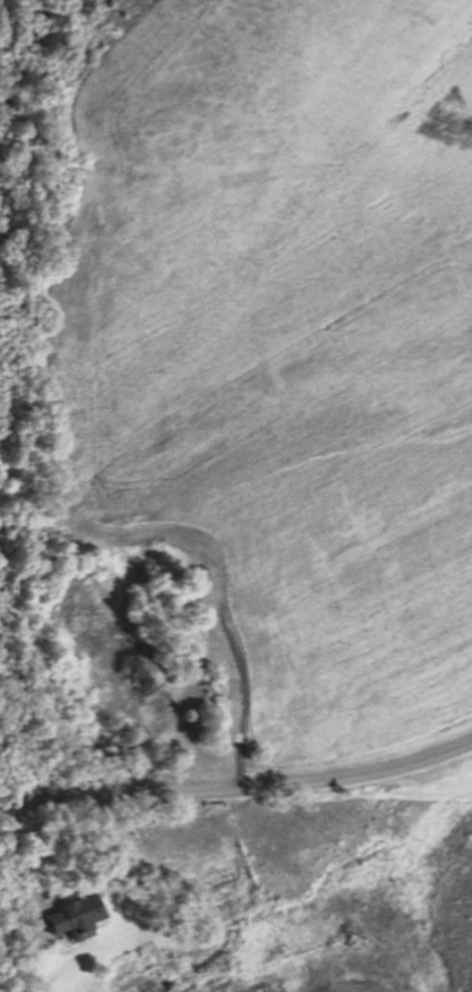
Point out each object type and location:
road: (238, 787)
building: (36, 886)
road: (24, 912)
building: (371, 955)
building: (77, 982)

